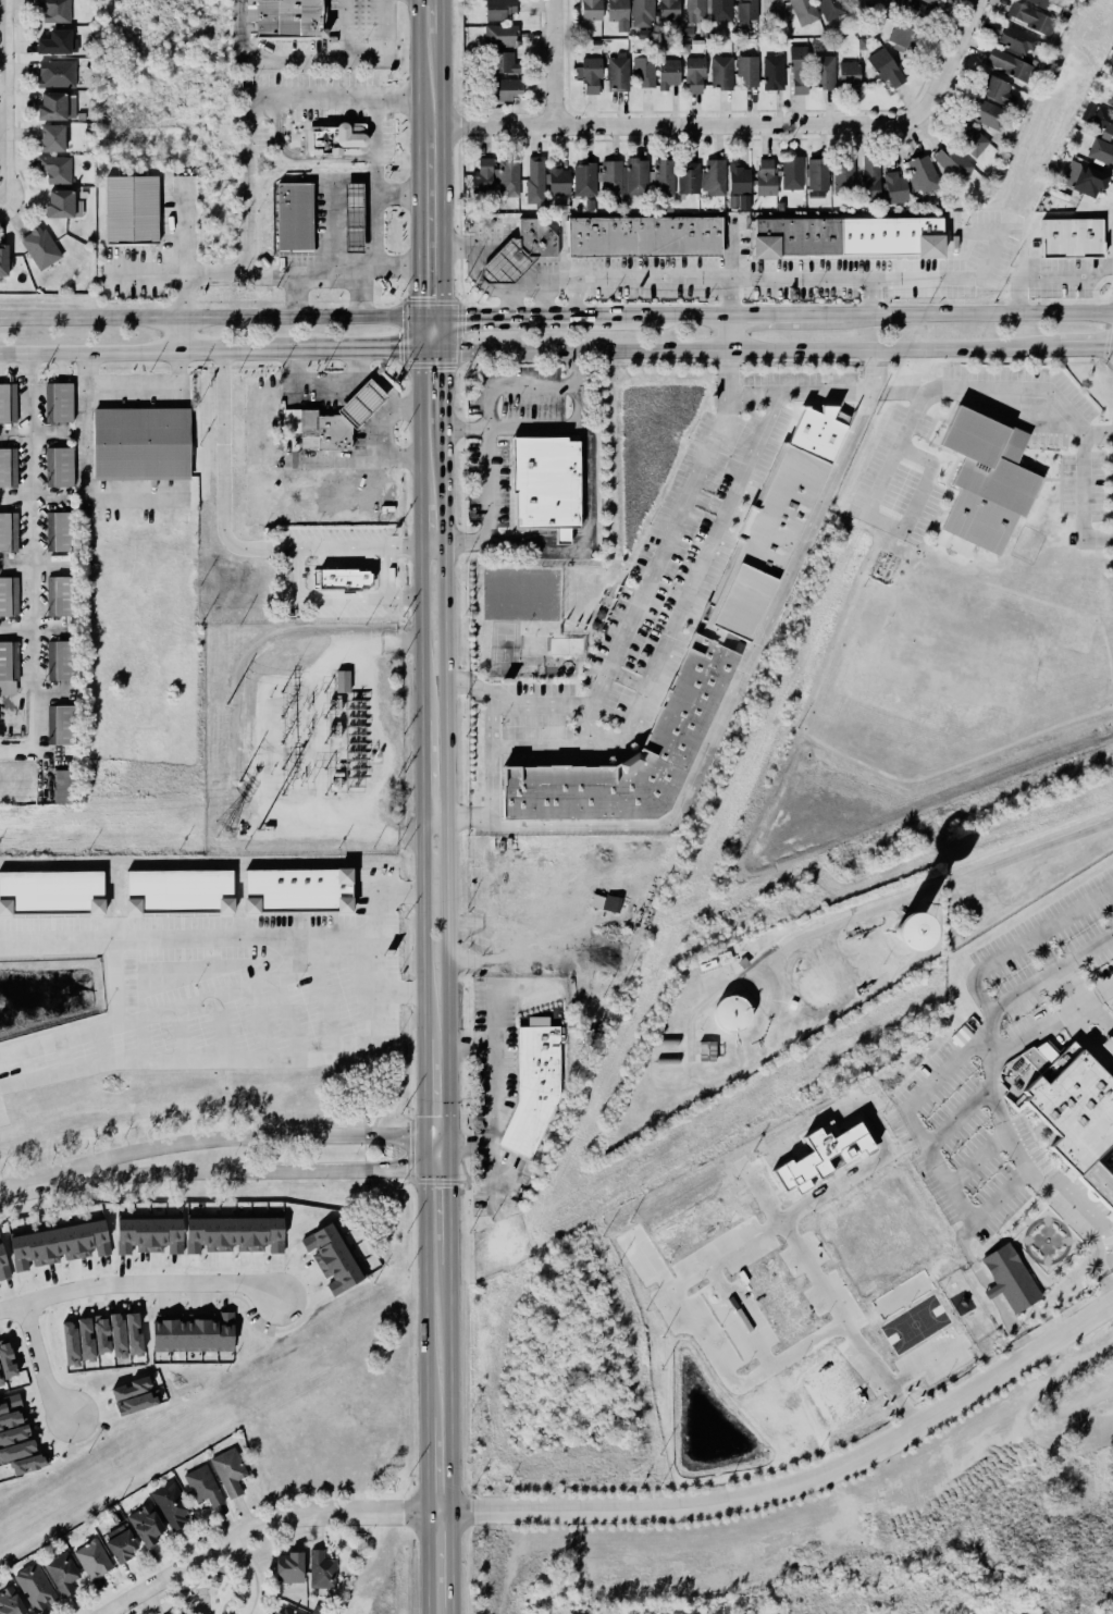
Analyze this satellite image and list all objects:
building: (932, 2)
building: (1043, 4)
building: (830, 9)
building: (499, 10)
building: (591, 10)
building: (668, 10)
building: (721, 10)
building: (912, 10)
building: (54, 11)
building: (695, 11)
building: (747, 11)
building: (804, 11)
building: (643, 13)
building: (618, 14)
road: (440, 17)
building: (289, 19)
building: (1030, 19)
building: (500, 36)
building: (903, 36)
building: (1016, 41)
building: (57, 44)
road: (364, 54)
road: (269, 59)
road: (561, 62)
building: (504, 63)
road: (949, 63)
building: (1009, 65)
building: (885, 67)
road: (411, 71)
building: (747, 71)
building: (799, 71)
building: (643, 72)
building: (770, 72)
building: (824, 72)
building: (618, 73)
building: (668, 73)
building: (721, 73)
building: (849, 73)
building: (57, 74)
building: (590, 75)
building: (694, 75)
road: (440, 81)
building: (506, 89)
road: (311, 95)
parking lot: (318, 96)
road: (393, 97)
building: (1111, 97)
road: (0, 101)
building: (992, 103)
building: (57, 107)
building: (1099, 120)
road: (675, 124)
building: (52, 138)
building: (969, 139)
building: (333, 140)
parking lot: (388, 141)
road: (375, 146)
building: (1100, 151)
road: (297, 160)
building: (952, 161)
building: (55, 171)
building: (790, 172)
building: (815, 173)
building: (924, 174)
building: (842, 175)
building: (482, 177)
building: (623, 177)
building: (765, 177)
building: (870, 177)
building: (508, 178)
building: (661, 178)
building: (688, 178)
building: (714, 178)
building: (584, 180)
building: (1083, 180)
building: (558, 181)
building: (535, 182)
road: (247, 186)
building: (739, 187)
building: (895, 188)
road: (393, 195)
building: (58, 202)
road: (0, 204)
building: (613, 205)
building: (665, 208)
building: (126, 209)
parking lot: (176, 213)
building: (290, 217)
building: (348, 218)
road: (438, 221)
road: (411, 230)
road: (332, 231)
road: (374, 231)
road: (184, 232)
building: (643, 236)
building: (795, 236)
building: (532, 237)
building: (1067, 238)
building: (42, 249)
building: (3, 259)
gas station: (500, 261)
road: (385, 268)
road: (146, 273)
road: (239, 278)
road: (329, 278)
road: (712, 280)
road: (361, 293)
road: (871, 296)
road: (183, 297)
road: (296, 297)
road: (726, 297)
road: (572, 298)
road: (509, 304)
road: (547, 305)
road: (977, 312)
road: (784, 315)
road: (681, 316)
road: (147, 317)
road: (354, 318)
traffic signals: (412, 318)
road: (425, 318)
road: (536, 318)
traffic signals: (438, 319)
road: (411, 330)
road: (727, 330)
road: (438, 331)
road: (182, 333)
road: (374, 343)
traffic signals: (411, 343)
traffic signals: (438, 343)
road: (729, 344)
road: (258, 345)
road: (1080, 346)
road: (85, 348)
road: (175, 348)
road: (875, 368)
parking lot: (982, 373)
parking lot: (1037, 375)
parking lot: (782, 379)
parking lot: (843, 380)
road: (727, 381)
road: (997, 385)
road: (437, 386)
road: (132, 390)
road: (939, 390)
road: (800, 391)
road: (366, 392)
road: (900, 393)
parking lot: (1074, 397)
building: (60, 402)
building: (2, 403)
gas station: (356, 403)
parking lot: (807, 406)
parking lot: (840, 407)
road: (1074, 419)
road: (490, 420)
road: (411, 423)
parking lot: (926, 428)
road: (511, 431)
building: (329, 433)
parking lot: (1047, 442)
building: (136, 443)
road: (895, 455)
parking lot: (732, 456)
road: (918, 457)
road: (295, 459)
parking lot: (877, 459)
building: (989, 461)
building: (60, 466)
building: (2, 467)
road: (224, 480)
building: (542, 484)
parking lot: (1067, 484)
parking lot: (1098, 486)
parking lot: (901, 490)
parking lot: (672, 495)
road: (1083, 496)
road: (917, 502)
parking lot: (709, 505)
parking lot: (926, 516)
road: (885, 523)
road: (412, 526)
building: (2, 530)
building: (59, 530)
road: (585, 530)
building: (341, 531)
road: (400, 547)
road: (343, 549)
road: (705, 556)
parking lot: (684, 559)
building: (342, 563)
road: (34, 568)
road: (654, 570)
road: (388, 572)
building: (345, 576)
parking lot: (703, 579)
building: (59, 594)
building: (3, 595)
road: (323, 595)
park: (521, 595)
road: (400, 597)
road: (17, 627)
road: (413, 632)
parking lot: (677, 634)
parking lot: (606, 638)
parking lot: (646, 642)
park: (505, 651)
building: (60, 660)
building: (3, 661)
building: (687, 668)
parking lot: (628, 680)
building: (343, 681)
parking lot: (654, 682)
road: (734, 689)
road: (472, 690)
parking lot: (543, 691)
road: (536, 703)
parking lot: (615, 705)
road: (492, 723)
building: (60, 724)
road: (581, 724)
parking lot: (534, 728)
road: (614, 737)
road: (375, 739)
power substation: (301, 742)
road: (543, 746)
road: (413, 774)
building: (60, 786)
road: (492, 787)
road: (441, 792)
road: (467, 817)
road: (428, 829)
power tower: (222, 831)
building: (298, 891)
building: (51, 892)
building: (178, 892)
road: (896, 904)
building: (611, 907)
road: (912, 907)
road: (458, 929)
building: (862, 931)
parking lot: (1046, 932)
road: (288, 935)
road: (416, 935)
road: (1023, 942)
road: (1044, 954)
parking lot: (1098, 959)
road: (208, 961)
parking lot: (1102, 974)
road: (776, 976)
road: (1062, 984)
road: (1072, 984)
road: (1081, 985)
building: (816, 987)
water tower: (815, 991)
road: (1059, 991)
road: (1089, 991)
road: (1068, 994)
road: (1048, 997)
road: (1072, 999)
road: (1087, 1001)
road: (1055, 1002)
parking lot: (1024, 1007)
road: (1102, 1010)
road: (1059, 1011)
building: (731, 1014)
water tower: (727, 1018)
road: (1085, 1019)
parking lot: (1025, 1022)
road: (990, 1024)
road: (1050, 1024)
road: (492, 1025)
road: (1074, 1025)
road: (1067, 1026)
fountain: (1095, 1030)
fountain: (1095, 1031)
road: (691, 1036)
road: (1100, 1038)
road: (1065, 1043)
building: (1108, 1046)
building: (706, 1051)
road: (1089, 1054)
building: (1037, 1057)
road: (1110, 1069)
road: (967, 1077)
road: (417, 1088)
building: (531, 1088)
road: (491, 1095)
road: (973, 1102)
building: (1073, 1107)
parking lot: (938, 1109)
road: (933, 1110)
road: (1025, 1110)
road: (908, 1114)
road: (960, 1118)
road: (955, 1119)
road: (1034, 1126)
road: (978, 1128)
road: (1046, 1131)
road: (1037, 1136)
traffic signals: (418, 1137)
road: (1044, 1138)
road: (232, 1142)
road: (989, 1146)
parking lot: (1030, 1147)
road: (1109, 1148)
road: (1103, 1150)
road: (954, 1153)
road: (1043, 1154)
road: (418, 1155)
traffic signals: (447, 1155)
building: (821, 1156)
road: (977, 1158)
road: (1093, 1159)
road: (977, 1160)
parking lot: (974, 1162)
road: (432, 1163)
road: (1001, 1166)
road: (1103, 1169)
traffic signals: (418, 1172)
road: (217, 1173)
road: (1111, 1173)
road: (1015, 1174)
building: (1097, 1184)
road: (1098, 1187)
road: (9, 1188)
road: (1043, 1190)
road: (976, 1191)
road: (1037, 1191)
parking lot: (998, 1202)
road: (1092, 1205)
road: (1078, 1208)
road: (447, 1209)
road: (1036, 1209)
road: (987, 1210)
road: (1106, 1217)
road: (1066, 1219)
road: (1001, 1233)
building: (147, 1234)
building: (234, 1234)
road: (1001, 1235)
road: (1004, 1240)
fountain: (1046, 1240)
building: (57, 1244)
road: (1075, 1248)
building: (330, 1257)
road: (1104, 1259)
road: (1025, 1260)
building: (3, 1268)
building: (1010, 1277)
road: (139, 1283)
road: (1039, 1284)
road: (995, 1285)
road: (420, 1296)
road: (997, 1299)
building: (101, 1334)
building: (118, 1334)
building: (134, 1334)
building: (191, 1334)
building: (86, 1340)
building: (71, 1343)
road: (1059, 1350)
building: (7, 1359)
road: (39, 1363)
building: (0, 1381)
building: (132, 1387)
road: (449, 1387)
building: (136, 1403)
building: (11, 1418)
building: (14, 1434)
building: (15, 1451)
road: (422, 1465)
building: (228, 1471)
road: (791, 1484)
building: (202, 1486)
building: (171, 1505)
building: (144, 1525)
road: (259, 1533)
building: (120, 1545)
building: (91, 1558)
road: (450, 1558)
road: (423, 1562)
road: (221, 1565)
building: (288, 1568)
building: (320, 1569)
building: (60, 1573)
road: (244, 1578)
building: (212, 1581)
building: (36, 1587)
road: (190, 1587)
park: (207, 1589)
road: (234, 1589)
building: (10, 1602)
building: (290, 1611)
road: (450, 1611)
building: (180, 1613)
building: (276, 1613)

